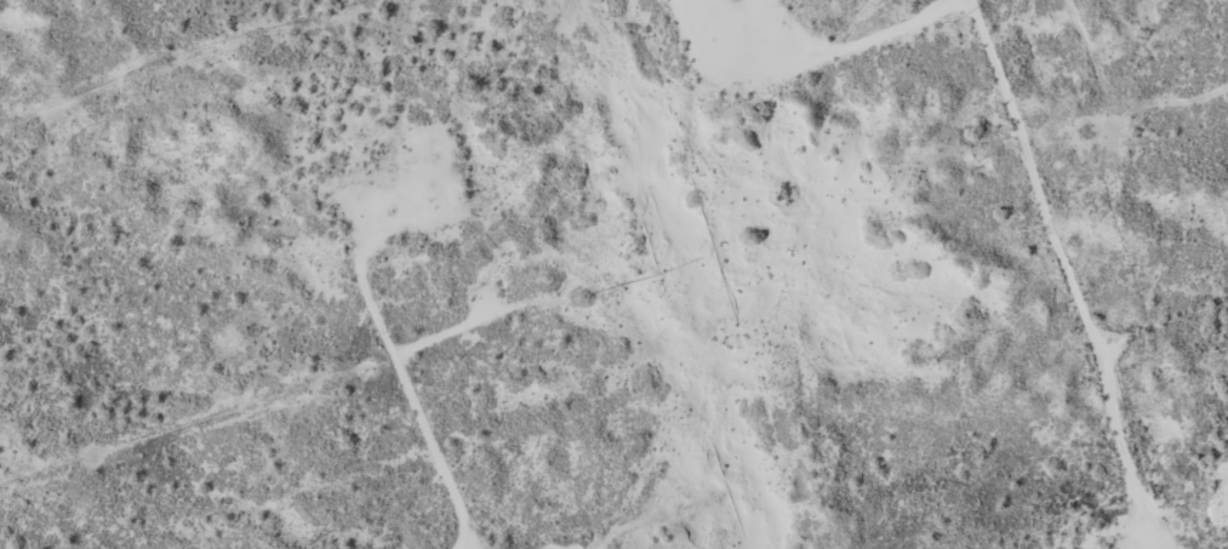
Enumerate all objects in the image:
road: (1085, 268)

